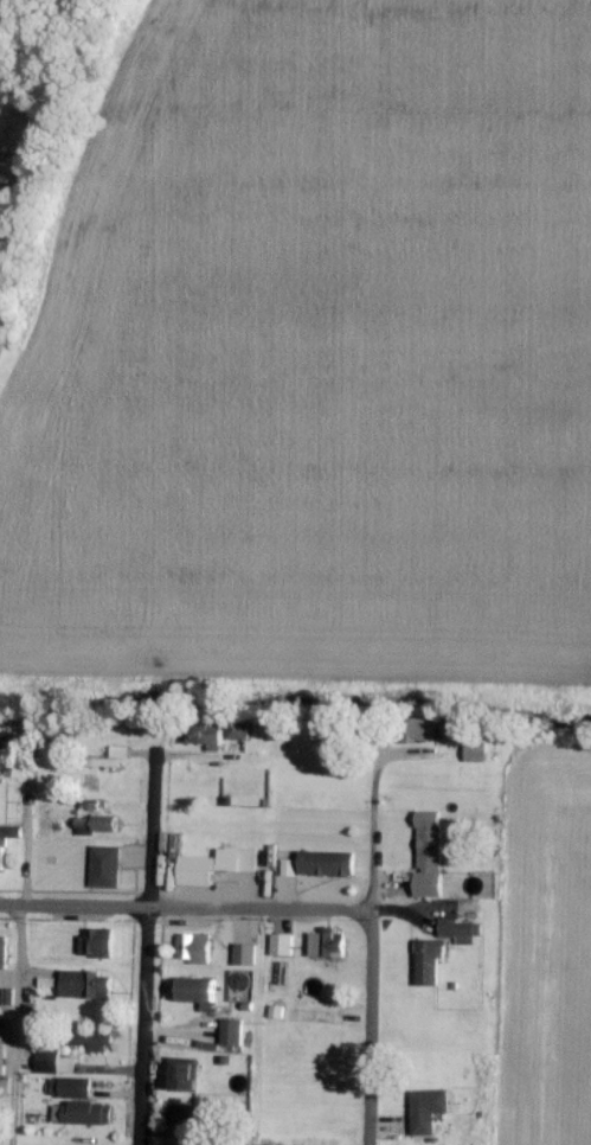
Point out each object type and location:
building: (424, 727)
building: (238, 728)
building: (204, 734)
building: (475, 750)
building: (113, 755)
building: (97, 823)
building: (2, 852)
building: (429, 852)
building: (327, 861)
building: (216, 863)
building: (105, 864)
road: (185, 909)
road: (368, 911)
building: (461, 927)
building: (97, 941)
building: (327, 941)
building: (282, 942)
building: (193, 946)
building: (4, 951)
building: (245, 952)
road: (142, 954)
building: (429, 959)
building: (86, 983)
building: (199, 991)
building: (277, 1009)
road: (17, 1026)
building: (232, 1030)
building: (94, 1038)
building: (2, 1057)
building: (54, 1061)
building: (186, 1072)
building: (71, 1086)
building: (428, 1107)
building: (83, 1112)
building: (180, 1113)
building: (41, 1144)

